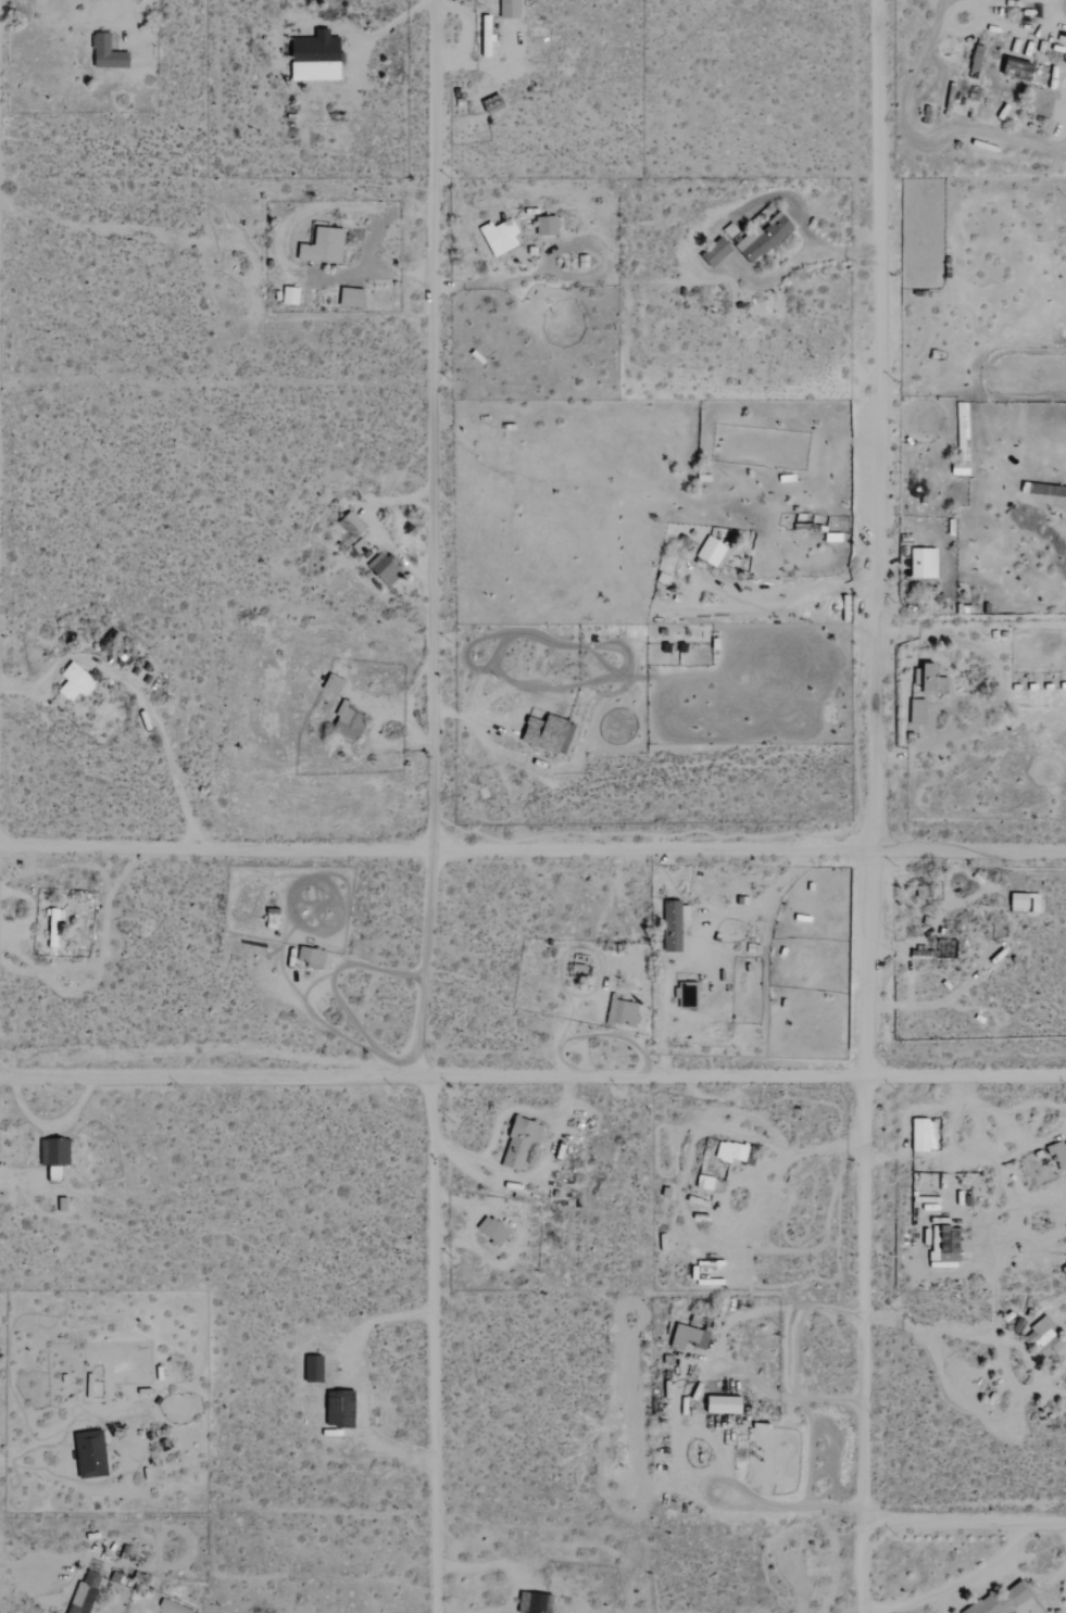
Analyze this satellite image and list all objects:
building: (512, 9)
building: (110, 52)
building: (322, 59)
building: (1013, 67)
building: (543, 224)
building: (496, 235)
building: (761, 237)
building: (321, 244)
building: (713, 251)
building: (287, 294)
building: (348, 295)
building: (348, 522)
building: (710, 551)
building: (920, 562)
building: (380, 567)
building: (926, 679)
building: (73, 681)
building: (329, 683)
road: (138, 698)
building: (915, 710)
building: (346, 722)
road: (425, 806)
road: (866, 806)
road: (532, 848)
building: (920, 891)
building: (1015, 902)
building: (670, 923)
building: (51, 927)
building: (308, 956)
building: (685, 994)
building: (620, 1011)
road: (532, 1081)
building: (921, 1134)
building: (517, 1144)
building: (728, 1150)
building: (52, 1152)
building: (1057, 1152)
building: (489, 1230)
building: (941, 1246)
building: (686, 1336)
building: (1041, 1339)
building: (311, 1368)
building: (719, 1403)
building: (333, 1410)
building: (88, 1453)
road: (963, 1519)
road: (1033, 1577)
road: (956, 1583)
building: (999, 1600)
building: (534, 1602)

